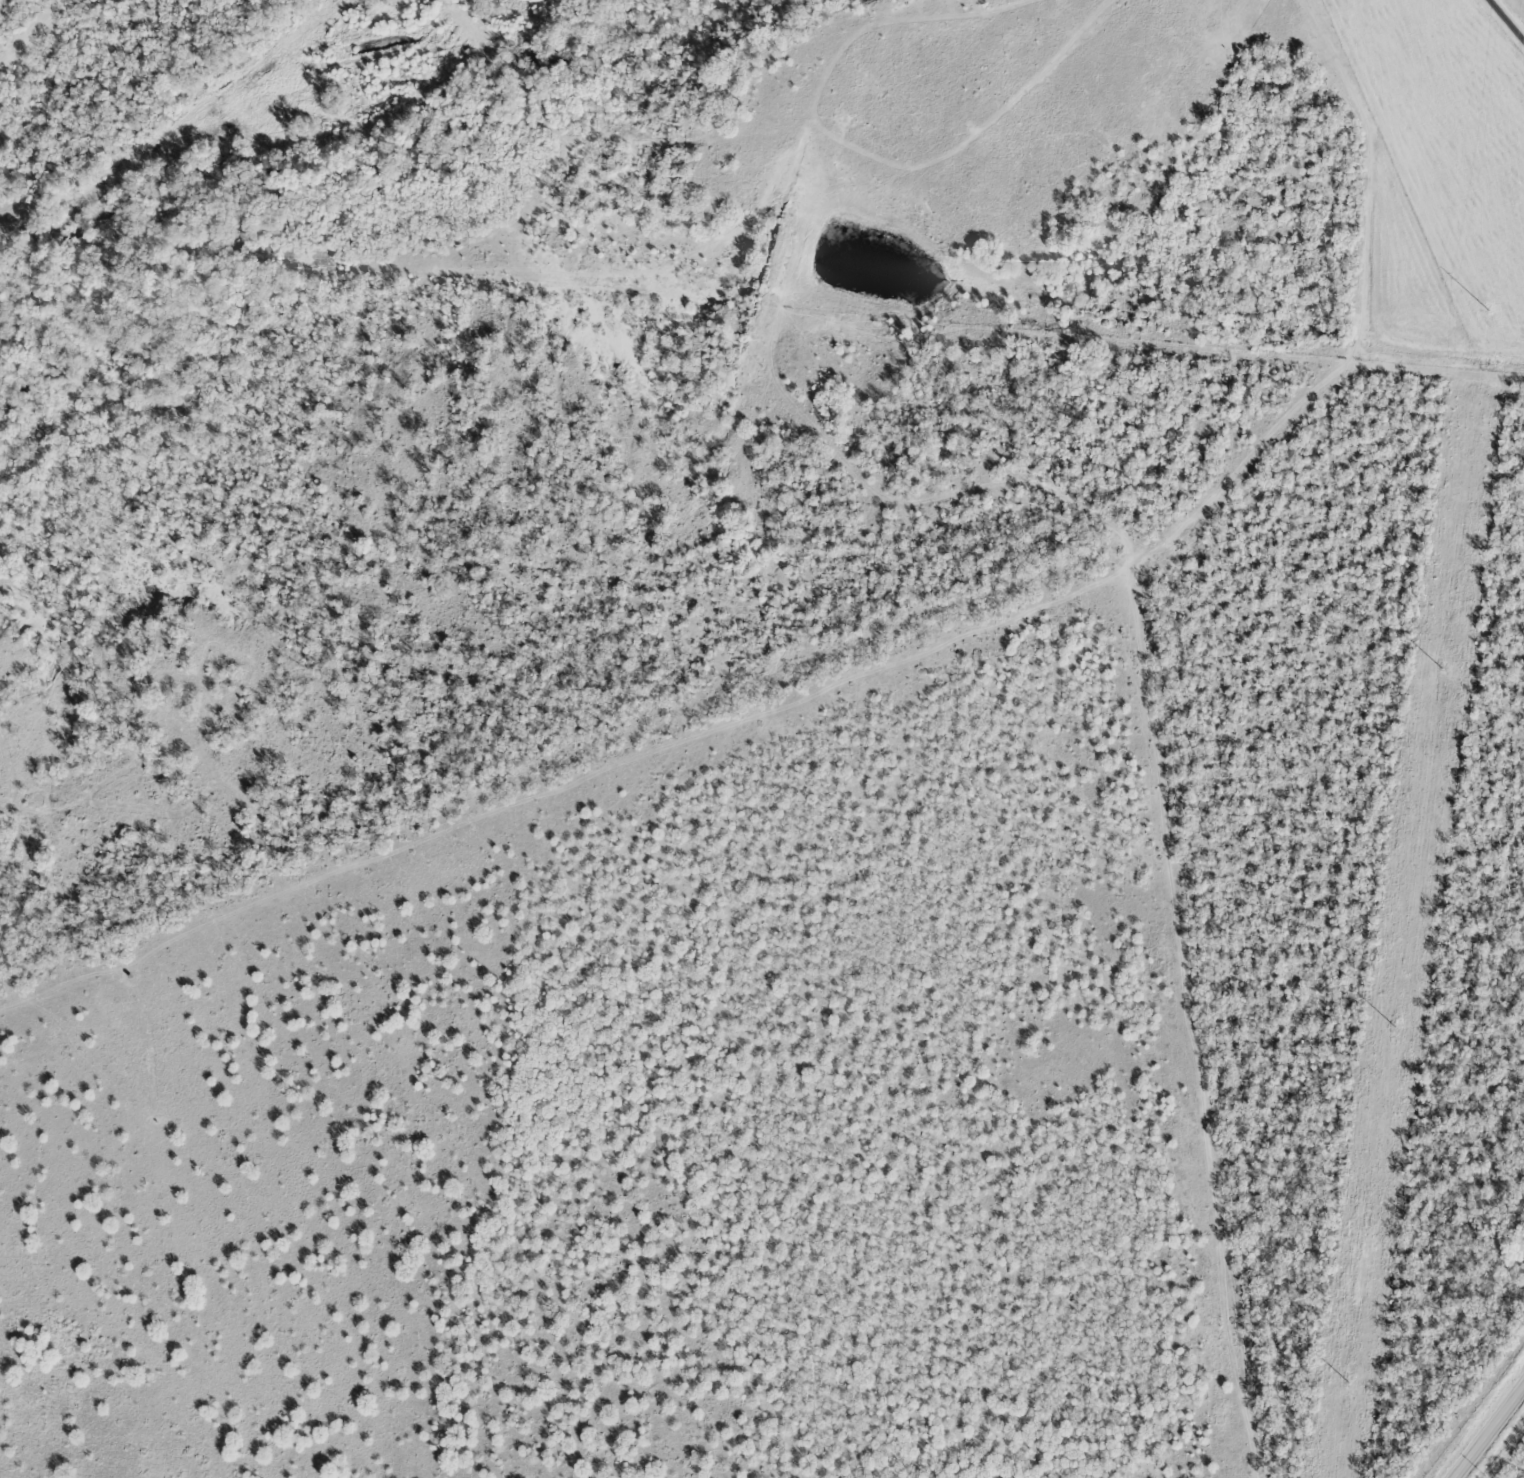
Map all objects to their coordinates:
road: (1506, 21)
power tower: (1487, 305)
power tower: (1440, 663)
power tower: (1394, 1018)
power tower: (1347, 1378)
road: (1489, 1432)

